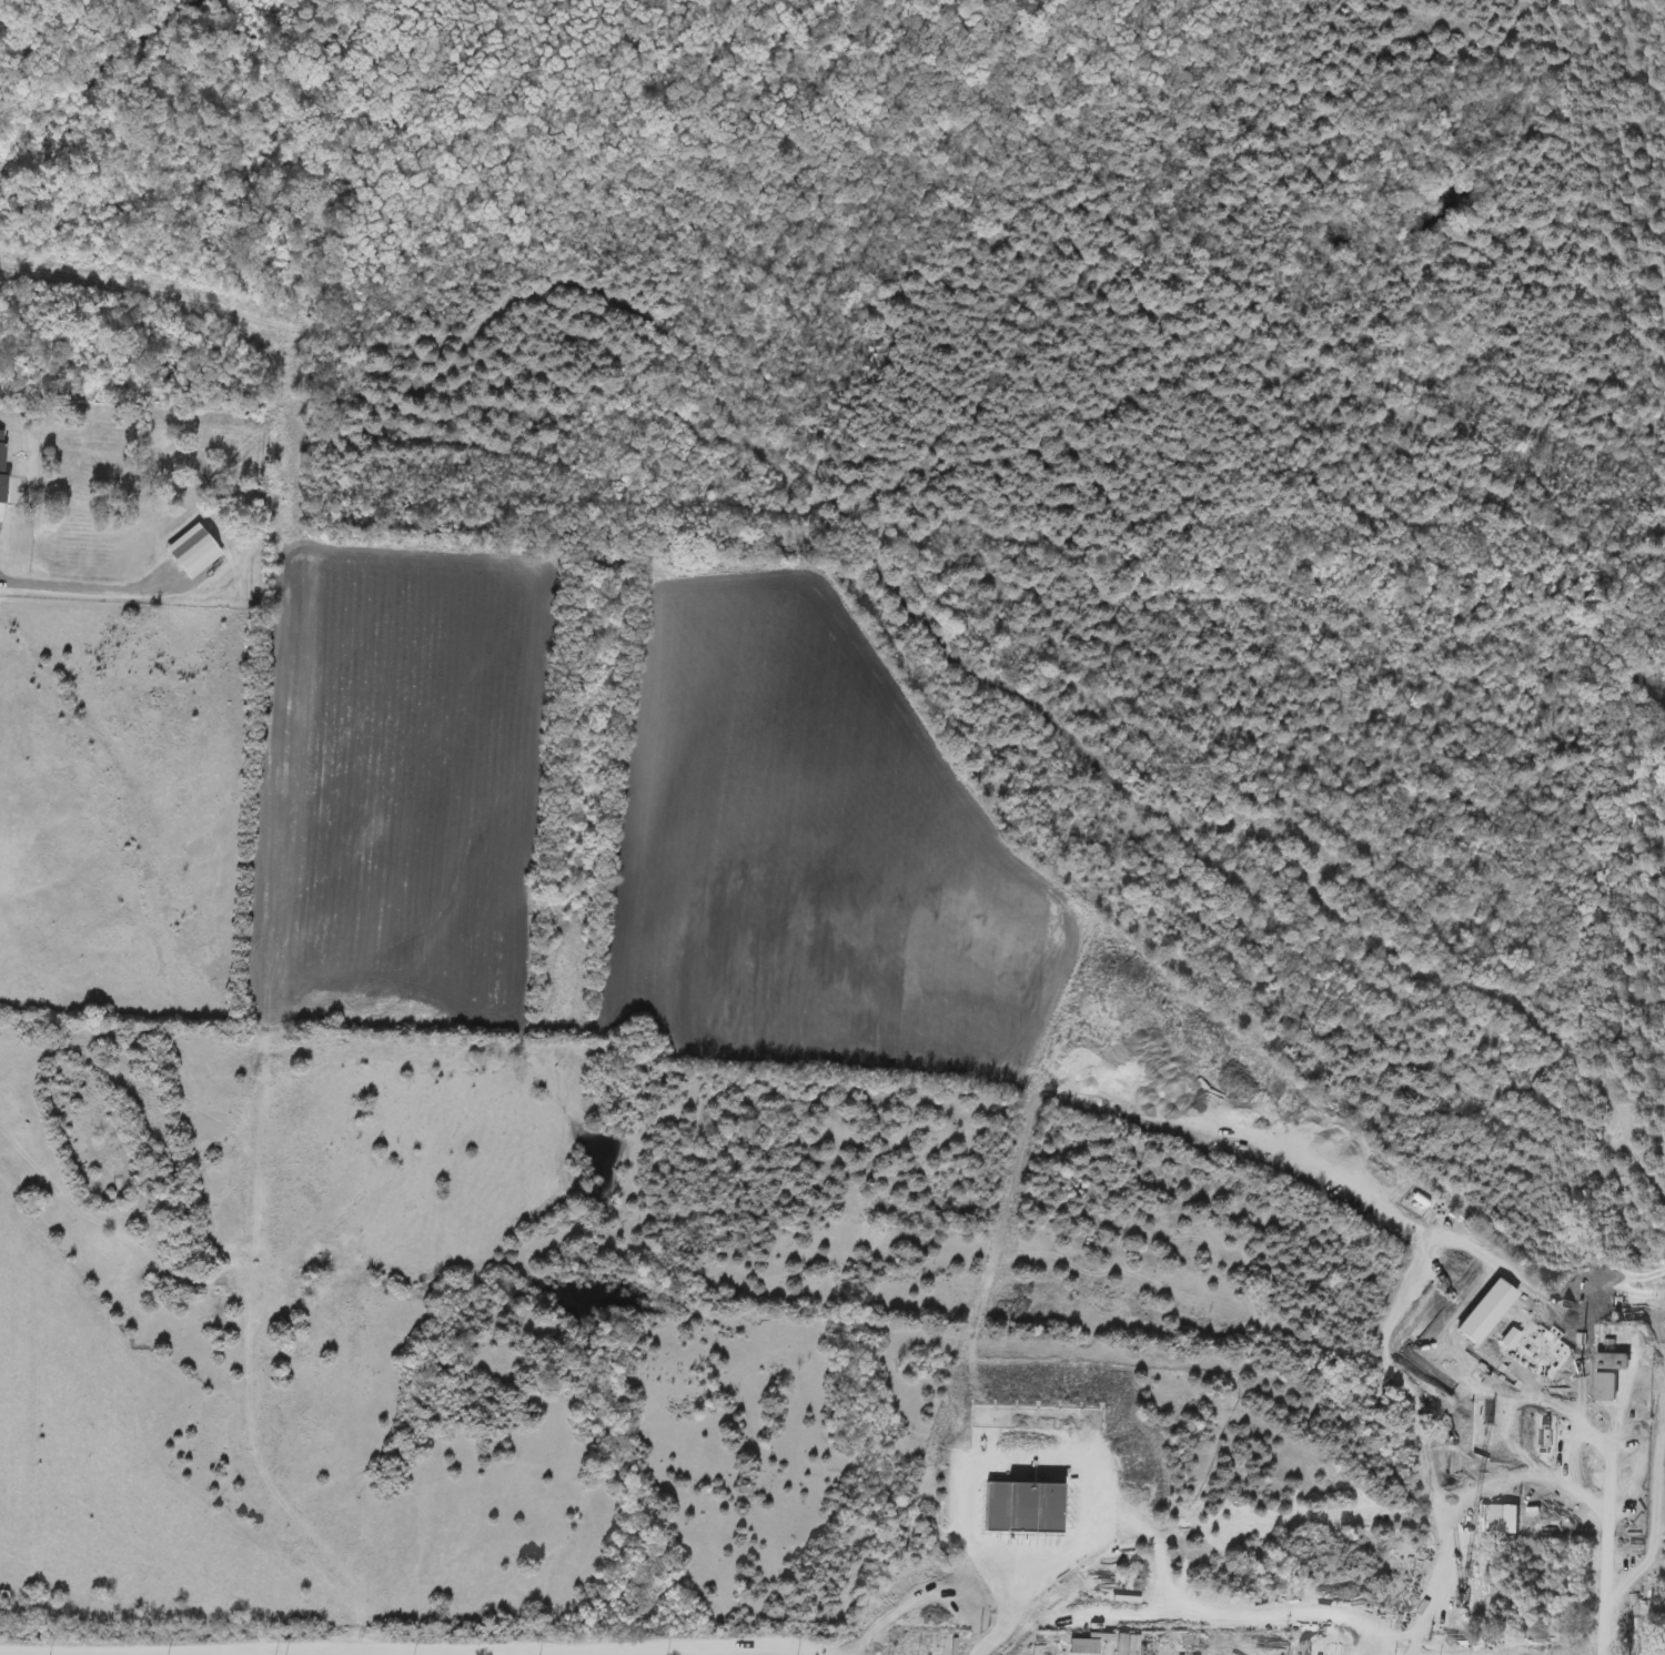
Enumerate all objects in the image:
building: (1612, 1361)
building: (1604, 1386)
road: (1557, 1456)
road: (1603, 1532)
road: (416, 1646)
building: (1082, 1647)
building: (1120, 1651)

